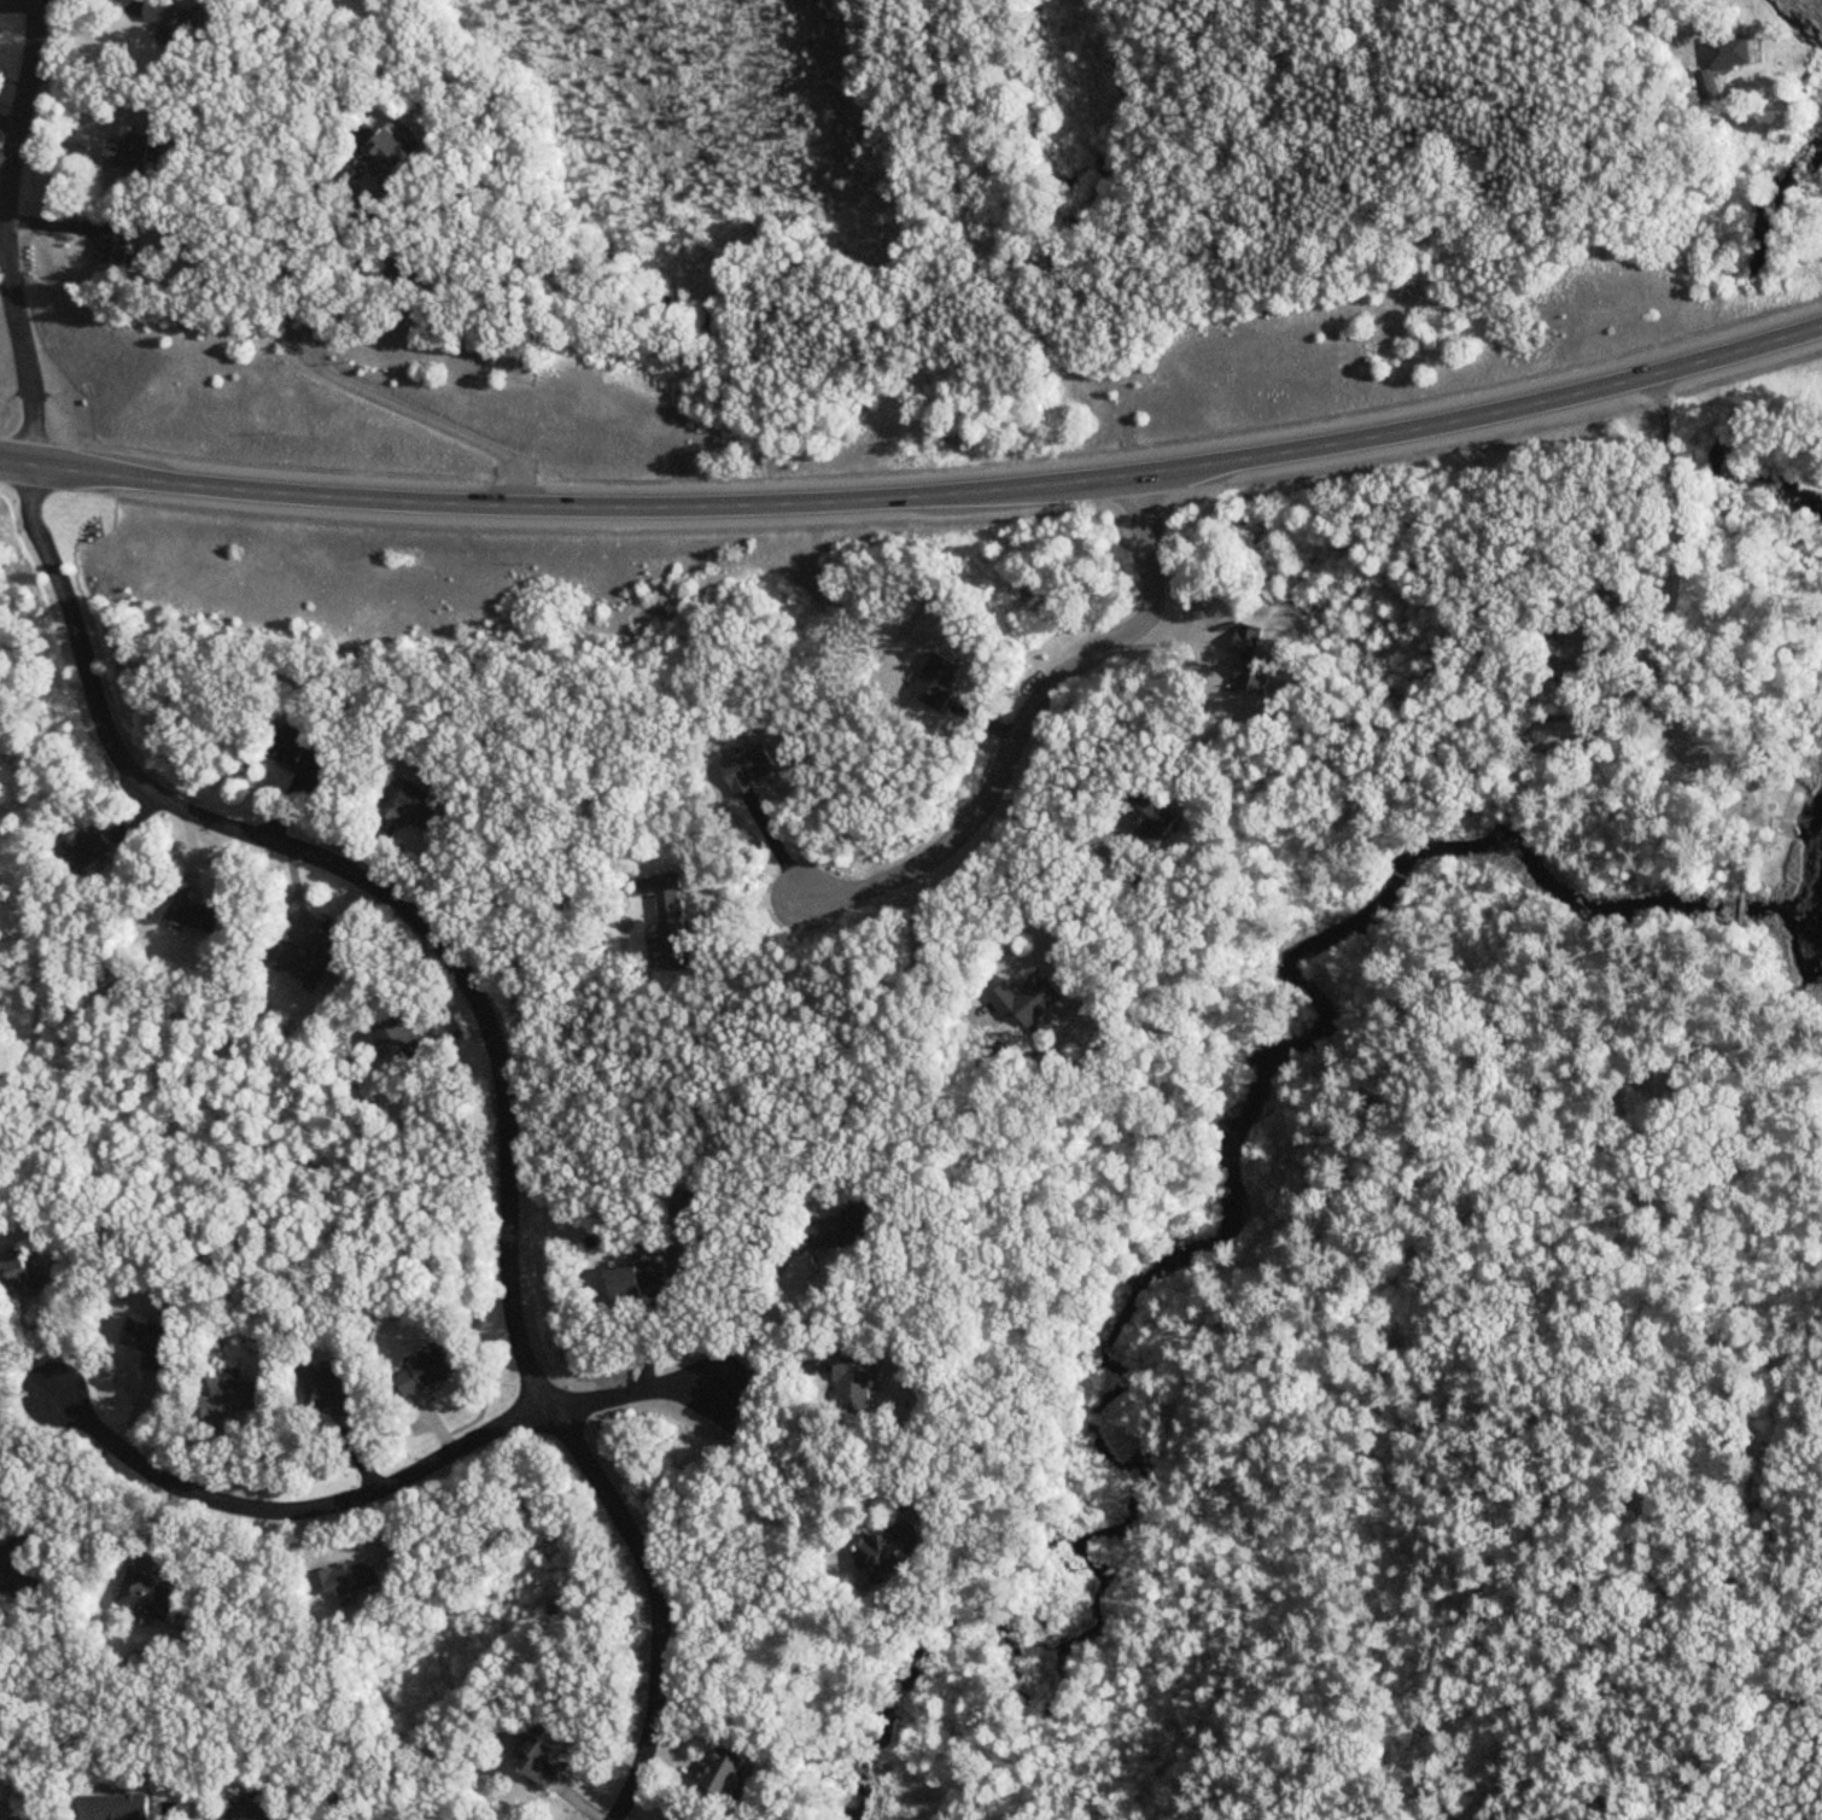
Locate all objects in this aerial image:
road: (1662, 19)
building: (170, 22)
building: (1729, 59)
building: (128, 154)
building: (391, 156)
road: (6, 231)
building: (113, 243)
road: (348, 304)
road: (918, 494)
road: (1658, 503)
road: (1024, 716)
building: (297, 752)
building: (410, 805)
building: (1155, 816)
road: (1056, 832)
building: (88, 848)
building: (1132, 875)
building: (197, 910)
road: (321, 922)
building: (305, 957)
road: (921, 958)
building: (1032, 999)
building: (399, 1039)
road: (496, 1054)
building: (846, 1229)
building: (21, 1274)
building: (640, 1279)
road: (760, 1301)
building: (151, 1341)
building: (428, 1372)
building: (854, 1381)
building: (332, 1388)
building: (235, 1394)
road: (782, 1463)
road: (375, 1489)
building: (882, 1557)
building: (18, 1573)
building: (350, 1579)
building: (150, 1597)
road: (1205, 1754)
building: (542, 1761)
building: (728, 1771)
building: (251, 1809)

